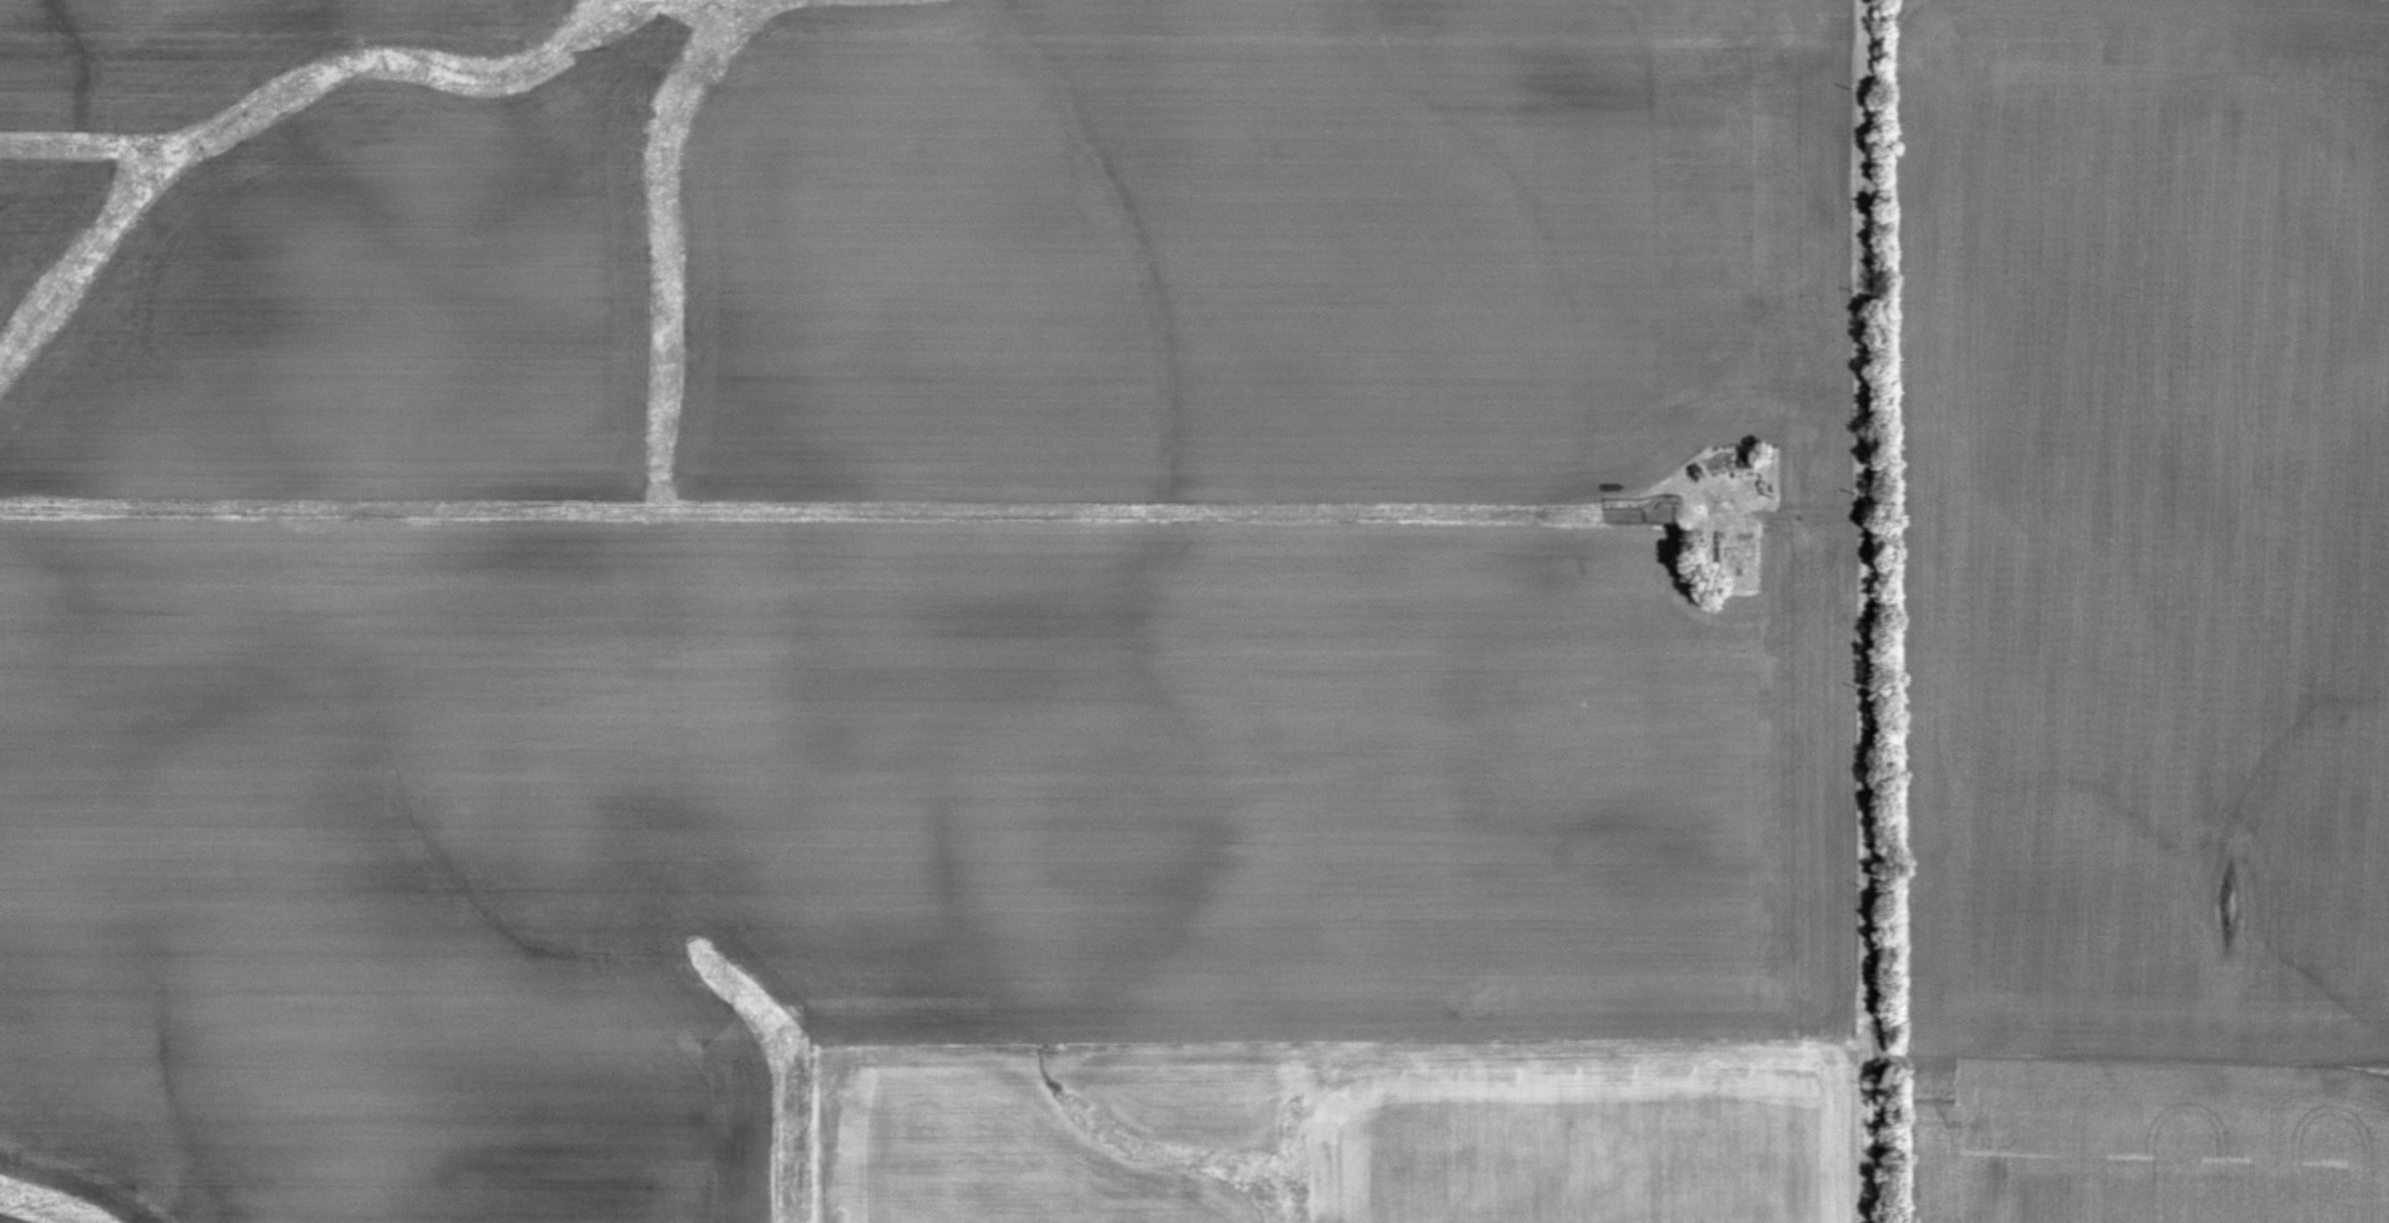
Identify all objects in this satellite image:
road: (1867, 611)

